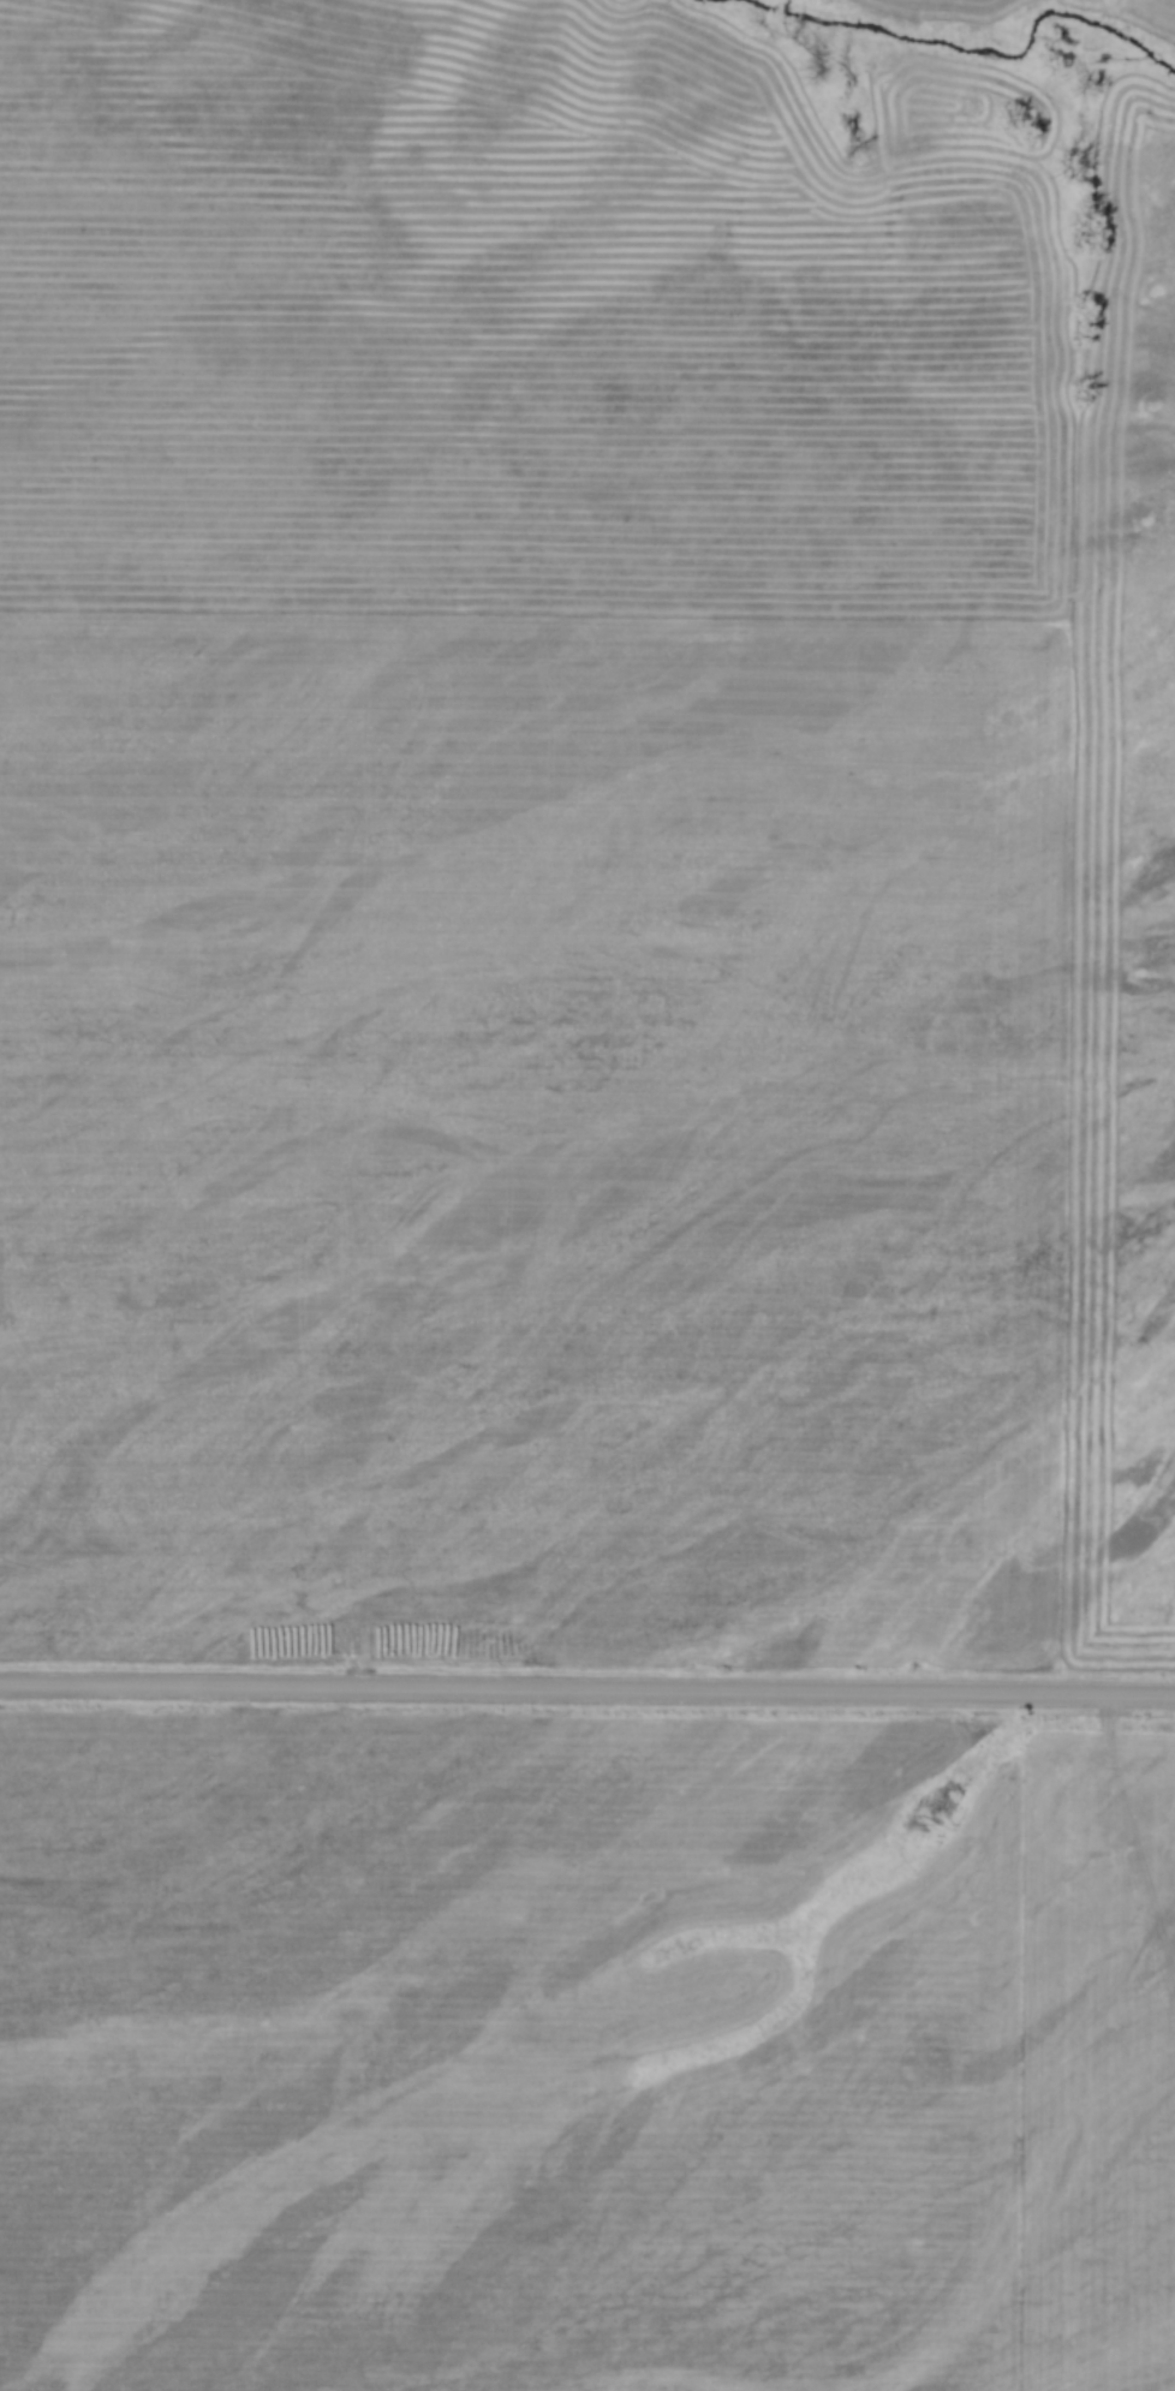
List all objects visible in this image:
road: (587, 1688)

